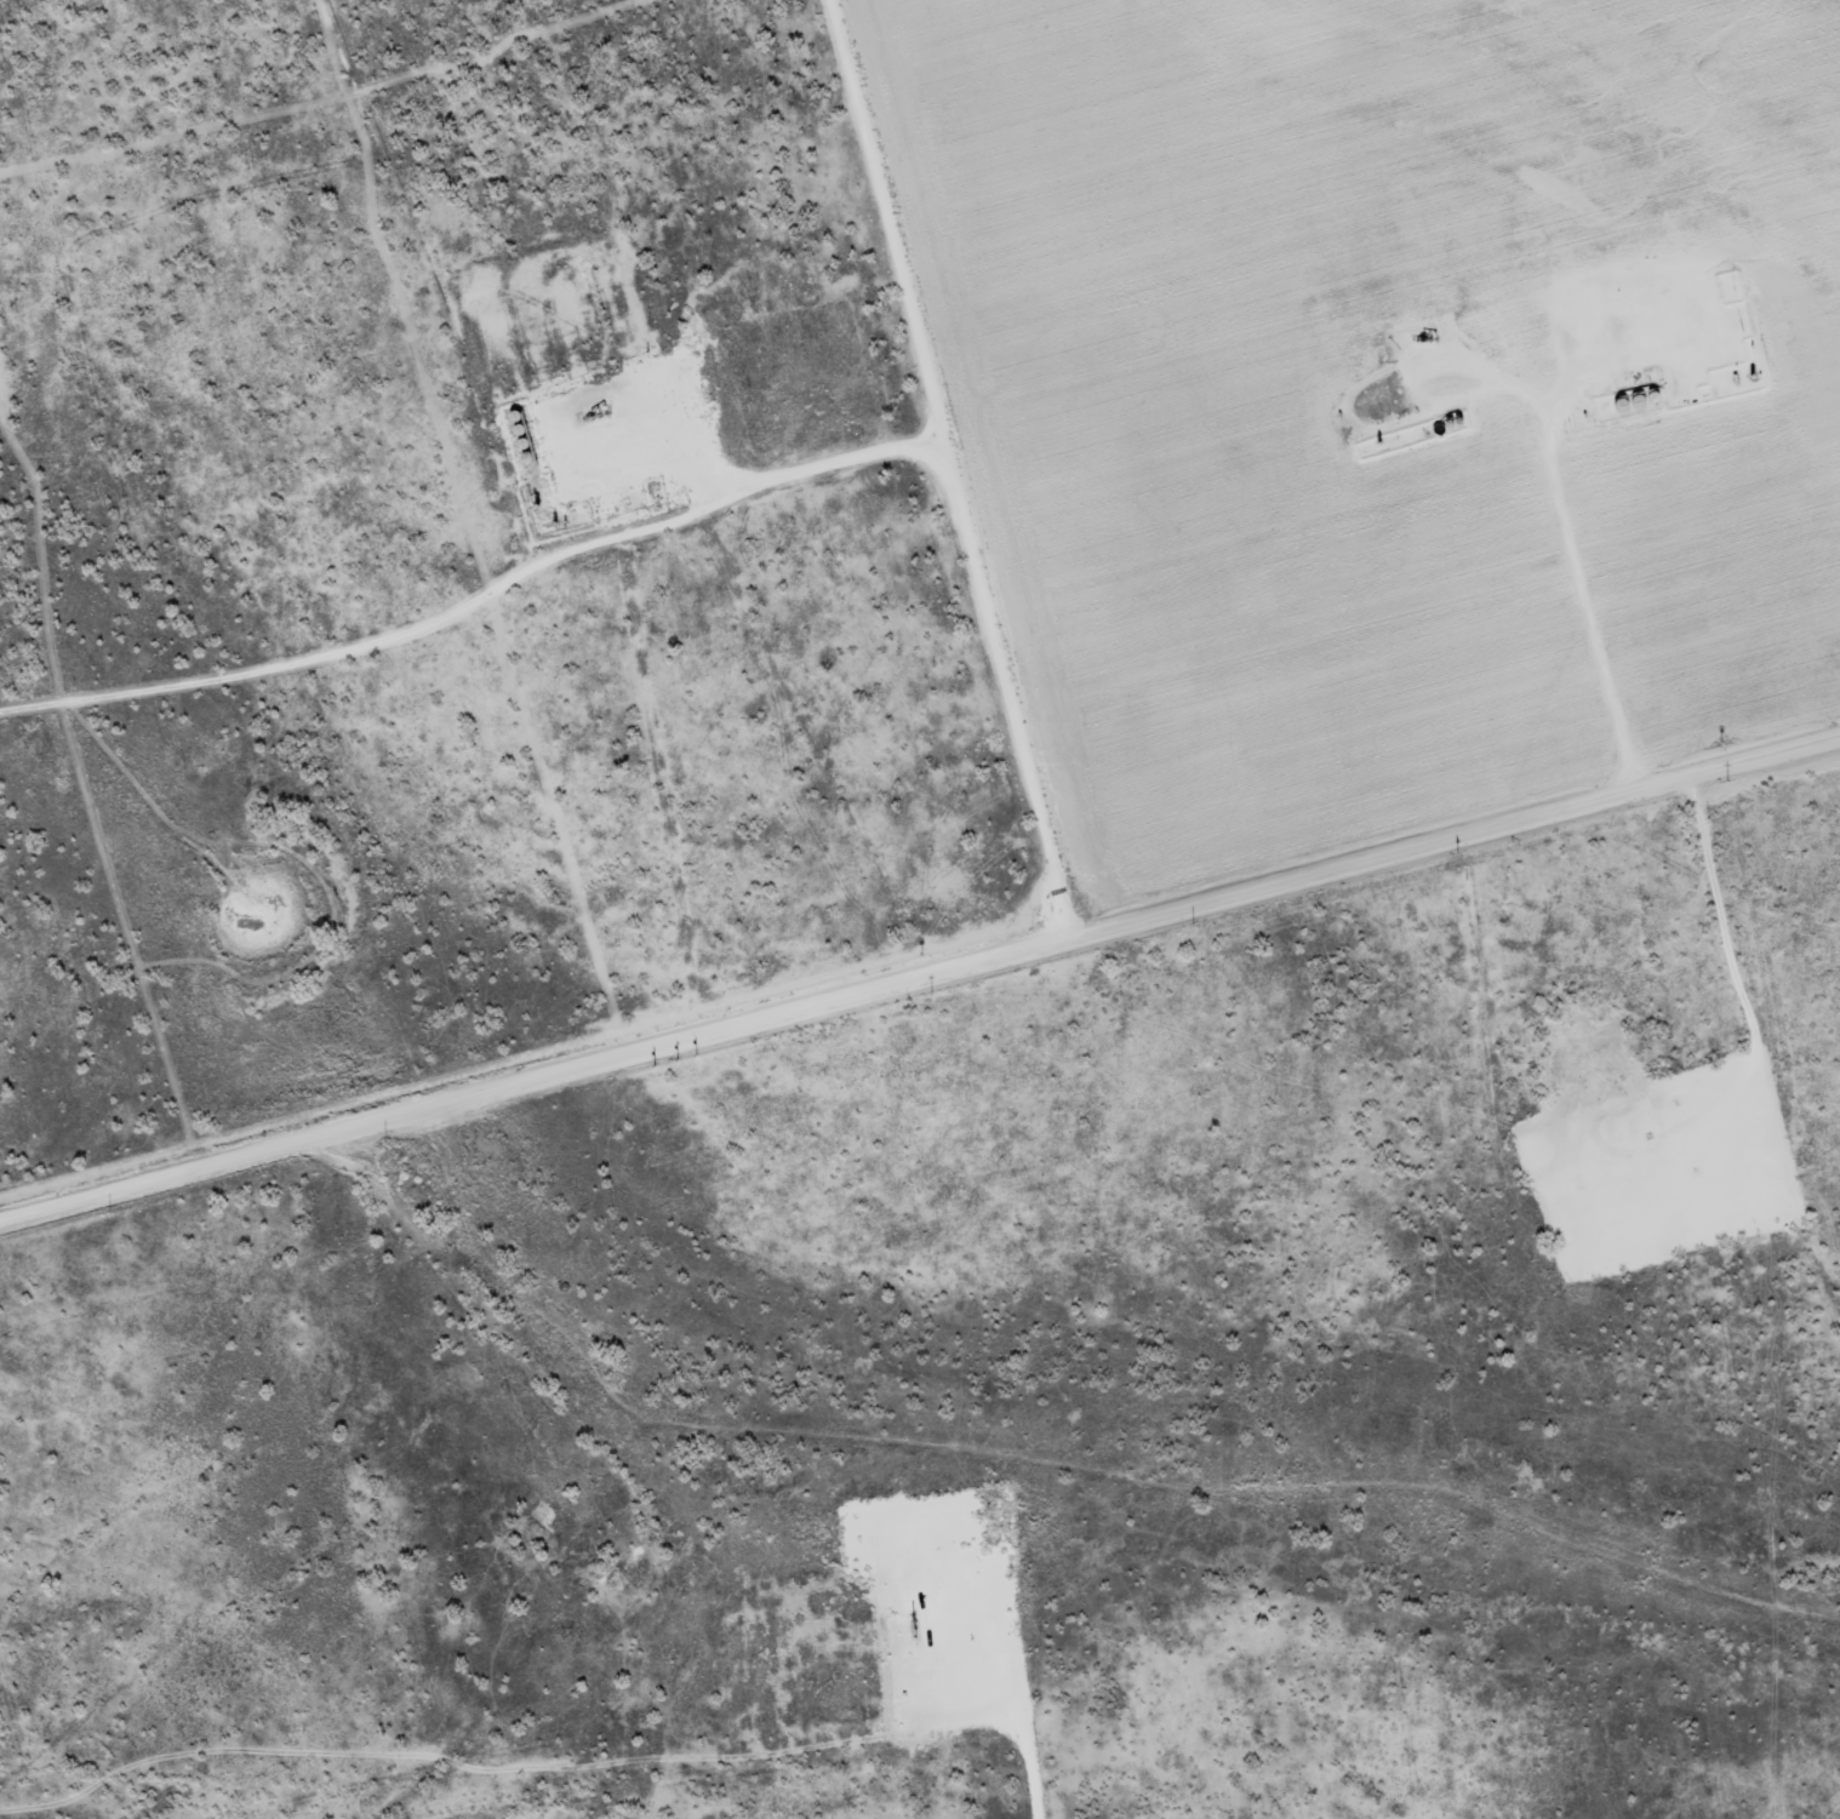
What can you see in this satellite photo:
road: (993, 577)
road: (918, 977)

